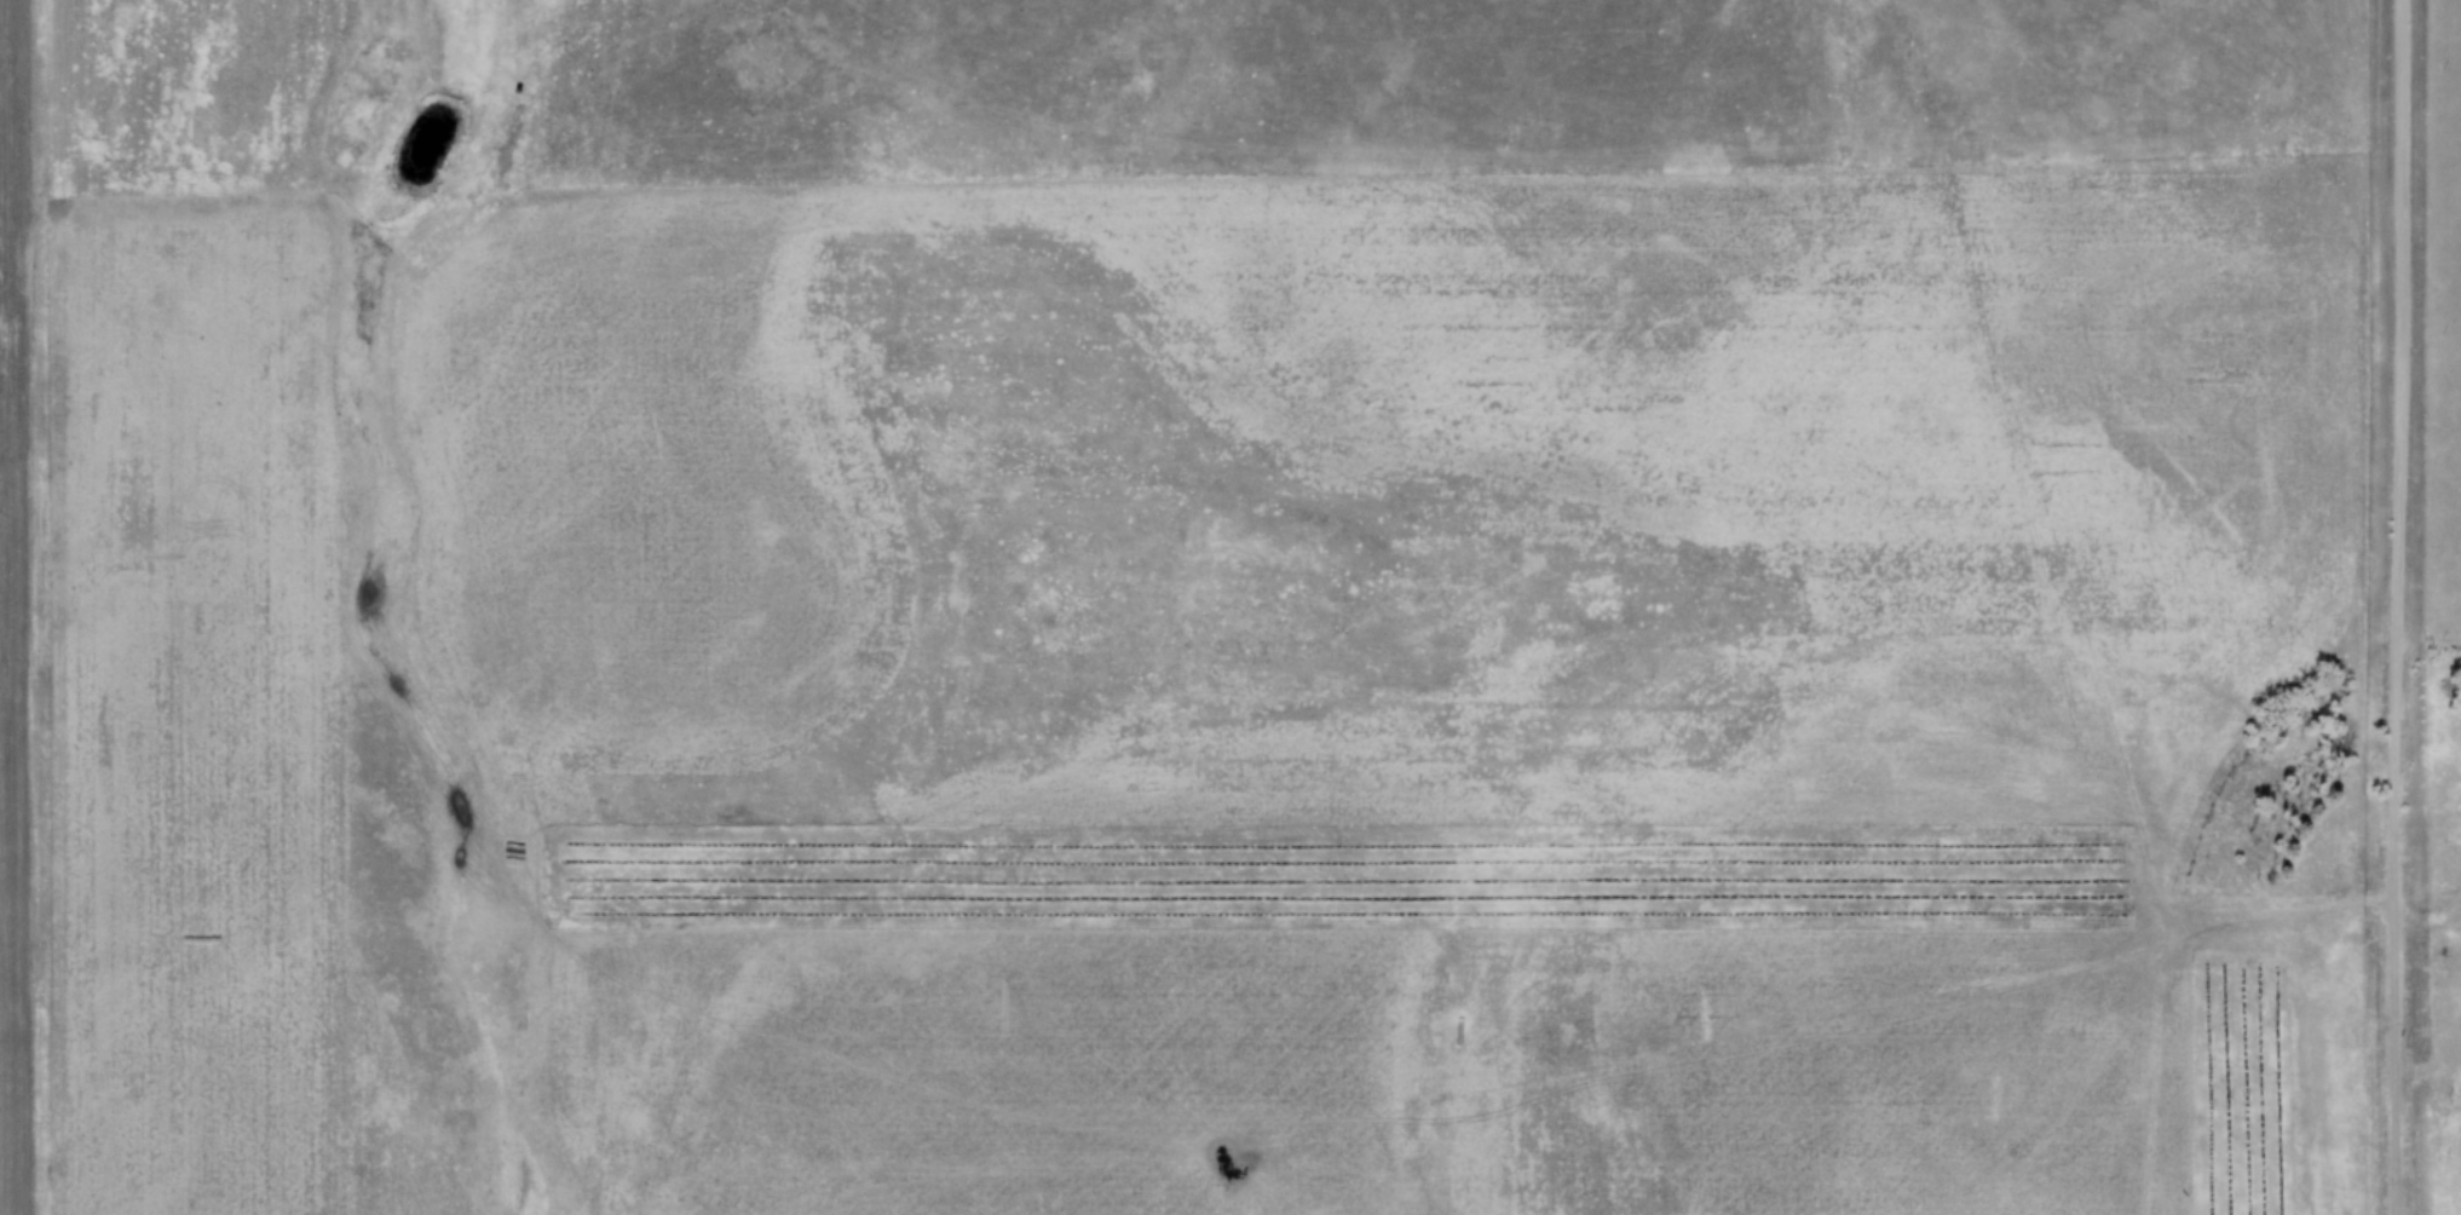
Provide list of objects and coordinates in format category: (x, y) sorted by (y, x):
road: (2394, 606)
road: (35, 607)

